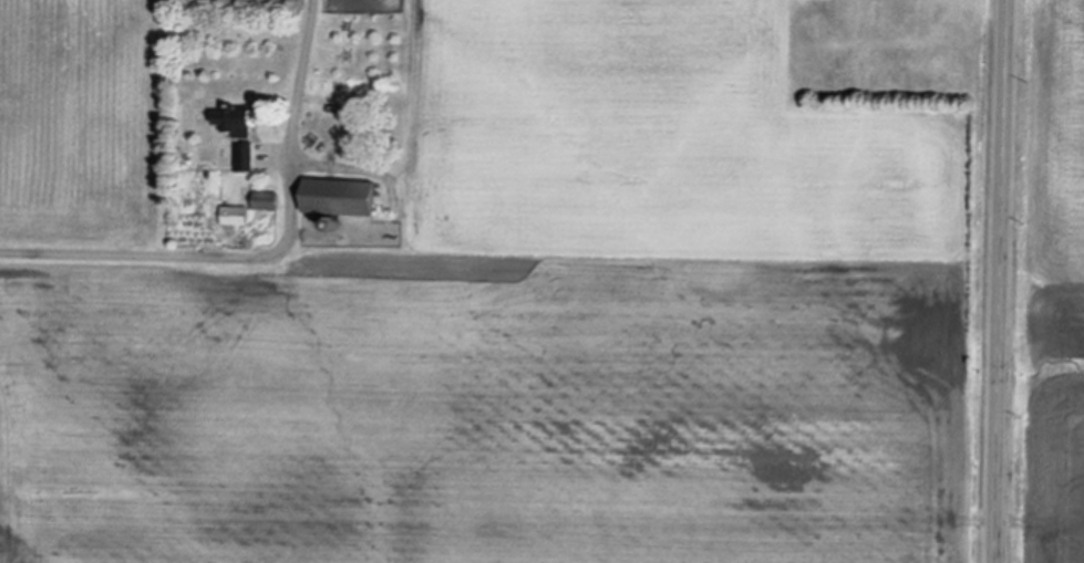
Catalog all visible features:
building: (240, 123)
building: (244, 158)
building: (348, 199)
building: (269, 204)
building: (236, 218)
road: (270, 257)
road: (1002, 281)

